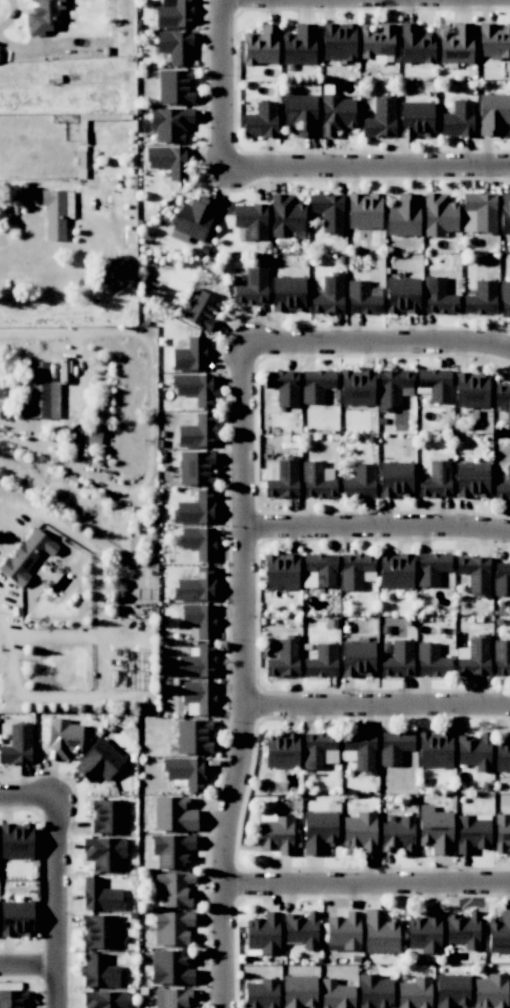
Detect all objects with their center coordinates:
building: (42, 15)
building: (175, 15)
building: (338, 41)
building: (493, 41)
building: (377, 43)
building: (415, 44)
building: (457, 44)
building: (261, 45)
building: (299, 45)
building: (176, 46)
road: (226, 85)
building: (175, 86)
building: (493, 113)
building: (301, 114)
building: (336, 114)
building: (380, 118)
building: (458, 118)
building: (262, 119)
building: (416, 119)
building: (170, 123)
building: (168, 160)
road: (368, 169)
building: (69, 204)
building: (364, 211)
building: (328, 212)
building: (478, 212)
building: (54, 213)
building: (504, 213)
building: (439, 214)
building: (286, 215)
building: (403, 215)
road: (33, 218)
building: (251, 219)
building: (252, 287)
building: (154, 293)
building: (288, 294)
building: (329, 295)
building: (402, 295)
building: (438, 296)
building: (363, 297)
building: (481, 298)
building: (504, 298)
building: (200, 308)
road: (375, 340)
building: (190, 355)
building: (435, 383)
building: (316, 385)
building: (283, 386)
building: (392, 386)
building: (356, 387)
building: (195, 388)
building: (471, 389)
building: (41, 394)
building: (502, 398)
building: (197, 432)
building: (196, 467)
building: (282, 478)
building: (395, 479)
building: (472, 479)
building: (317, 480)
building: (436, 480)
building: (359, 482)
building: (503, 487)
building: (195, 508)
road: (376, 524)
building: (199, 542)
building: (27, 555)
building: (432, 566)
building: (319, 569)
building: (355, 569)
building: (395, 570)
building: (281, 571)
building: (474, 573)
building: (501, 578)
building: (195, 585)
building: (200, 619)
building: (474, 657)
building: (501, 657)
building: (284, 658)
building: (357, 658)
building: (398, 659)
building: (322, 660)
building: (431, 660)
building: (197, 662)
road: (242, 674)
building: (198, 697)
road: (376, 704)
building: (193, 736)
building: (62, 739)
building: (17, 745)
building: (394, 747)
building: (435, 749)
building: (281, 750)
building: (319, 750)
building: (474, 750)
building: (360, 751)
building: (502, 756)
building: (99, 761)
building: (186, 772)
road: (29, 796)
building: (174, 814)
building: (108, 816)
building: (435, 829)
building: (319, 831)
building: (276, 832)
building: (360, 832)
building: (472, 832)
building: (501, 832)
building: (398, 835)
building: (16, 841)
building: (172, 850)
building: (104, 853)
road: (365, 882)
building: (174, 888)
building: (101, 895)
road: (59, 902)
building: (16, 918)
building: (171, 927)
building: (301, 929)
building: (463, 929)
building: (100, 931)
building: (380, 931)
building: (344, 932)
building: (263, 933)
building: (424, 933)
building: (499, 933)
road: (29, 962)
building: (171, 968)
building: (99, 971)
building: (299, 991)
building: (374, 991)
building: (451, 991)
building: (490, 991)
building: (414, 993)
building: (261, 994)
building: (336, 994)
building: (13, 998)
building: (172, 998)
building: (105, 999)

